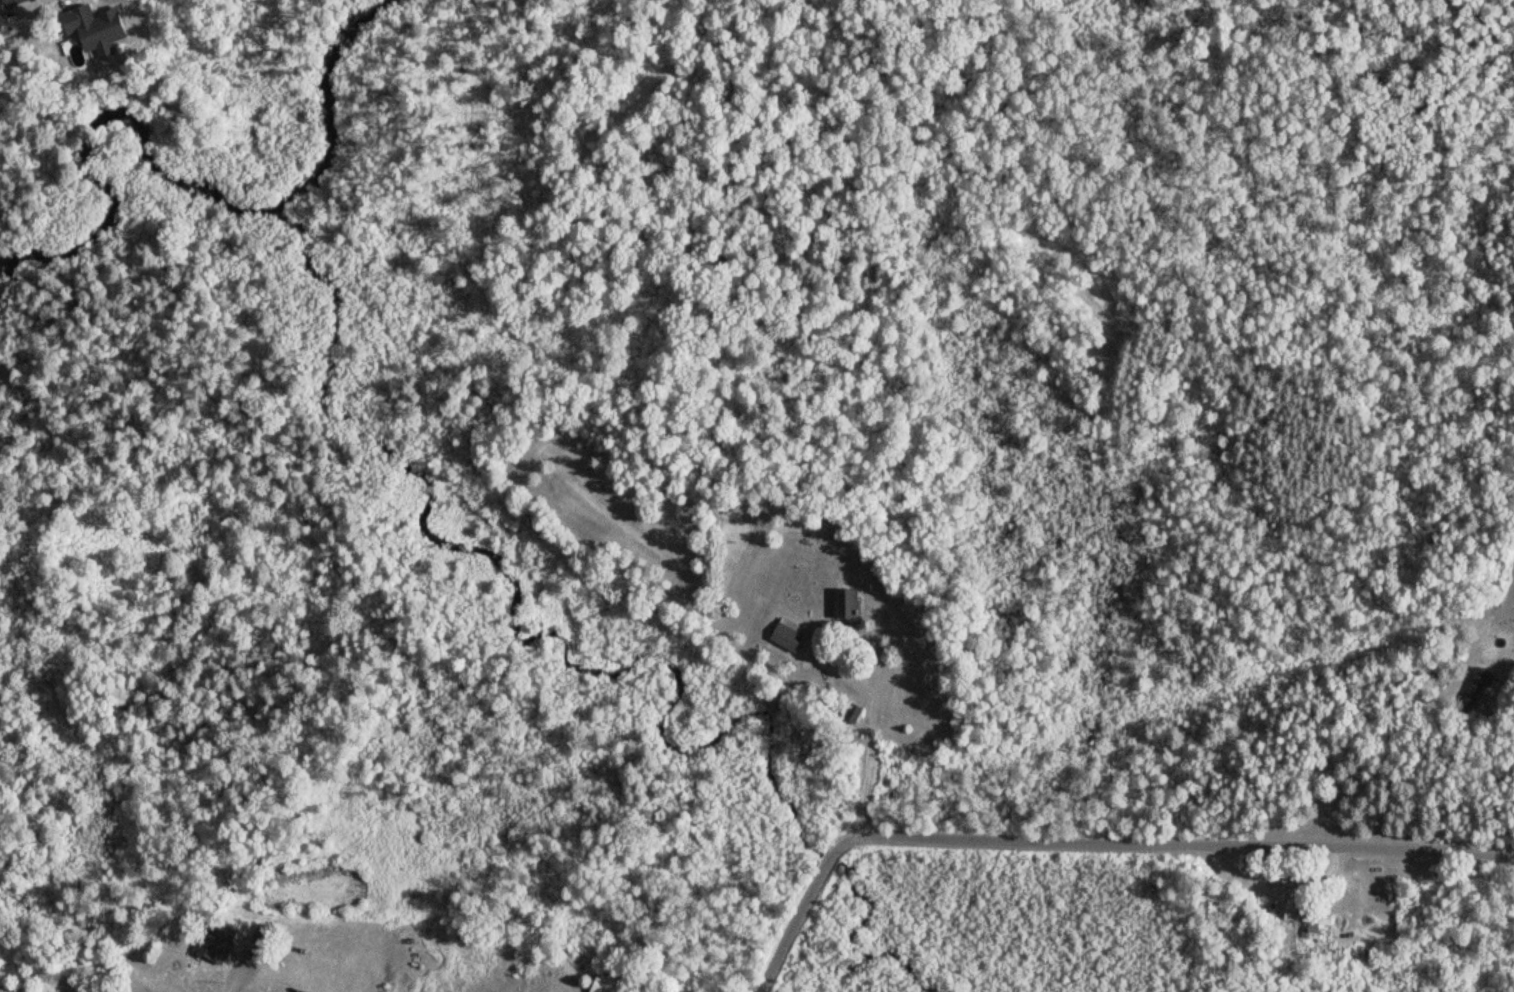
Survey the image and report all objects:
building: (13, 2)
building: (99, 27)
river: (188, 177)
building: (849, 604)
building: (790, 635)
building: (1474, 686)
road: (1093, 846)
building: (1308, 915)
building: (263, 934)
building: (219, 944)
road: (233, 981)
building: (609, 985)

